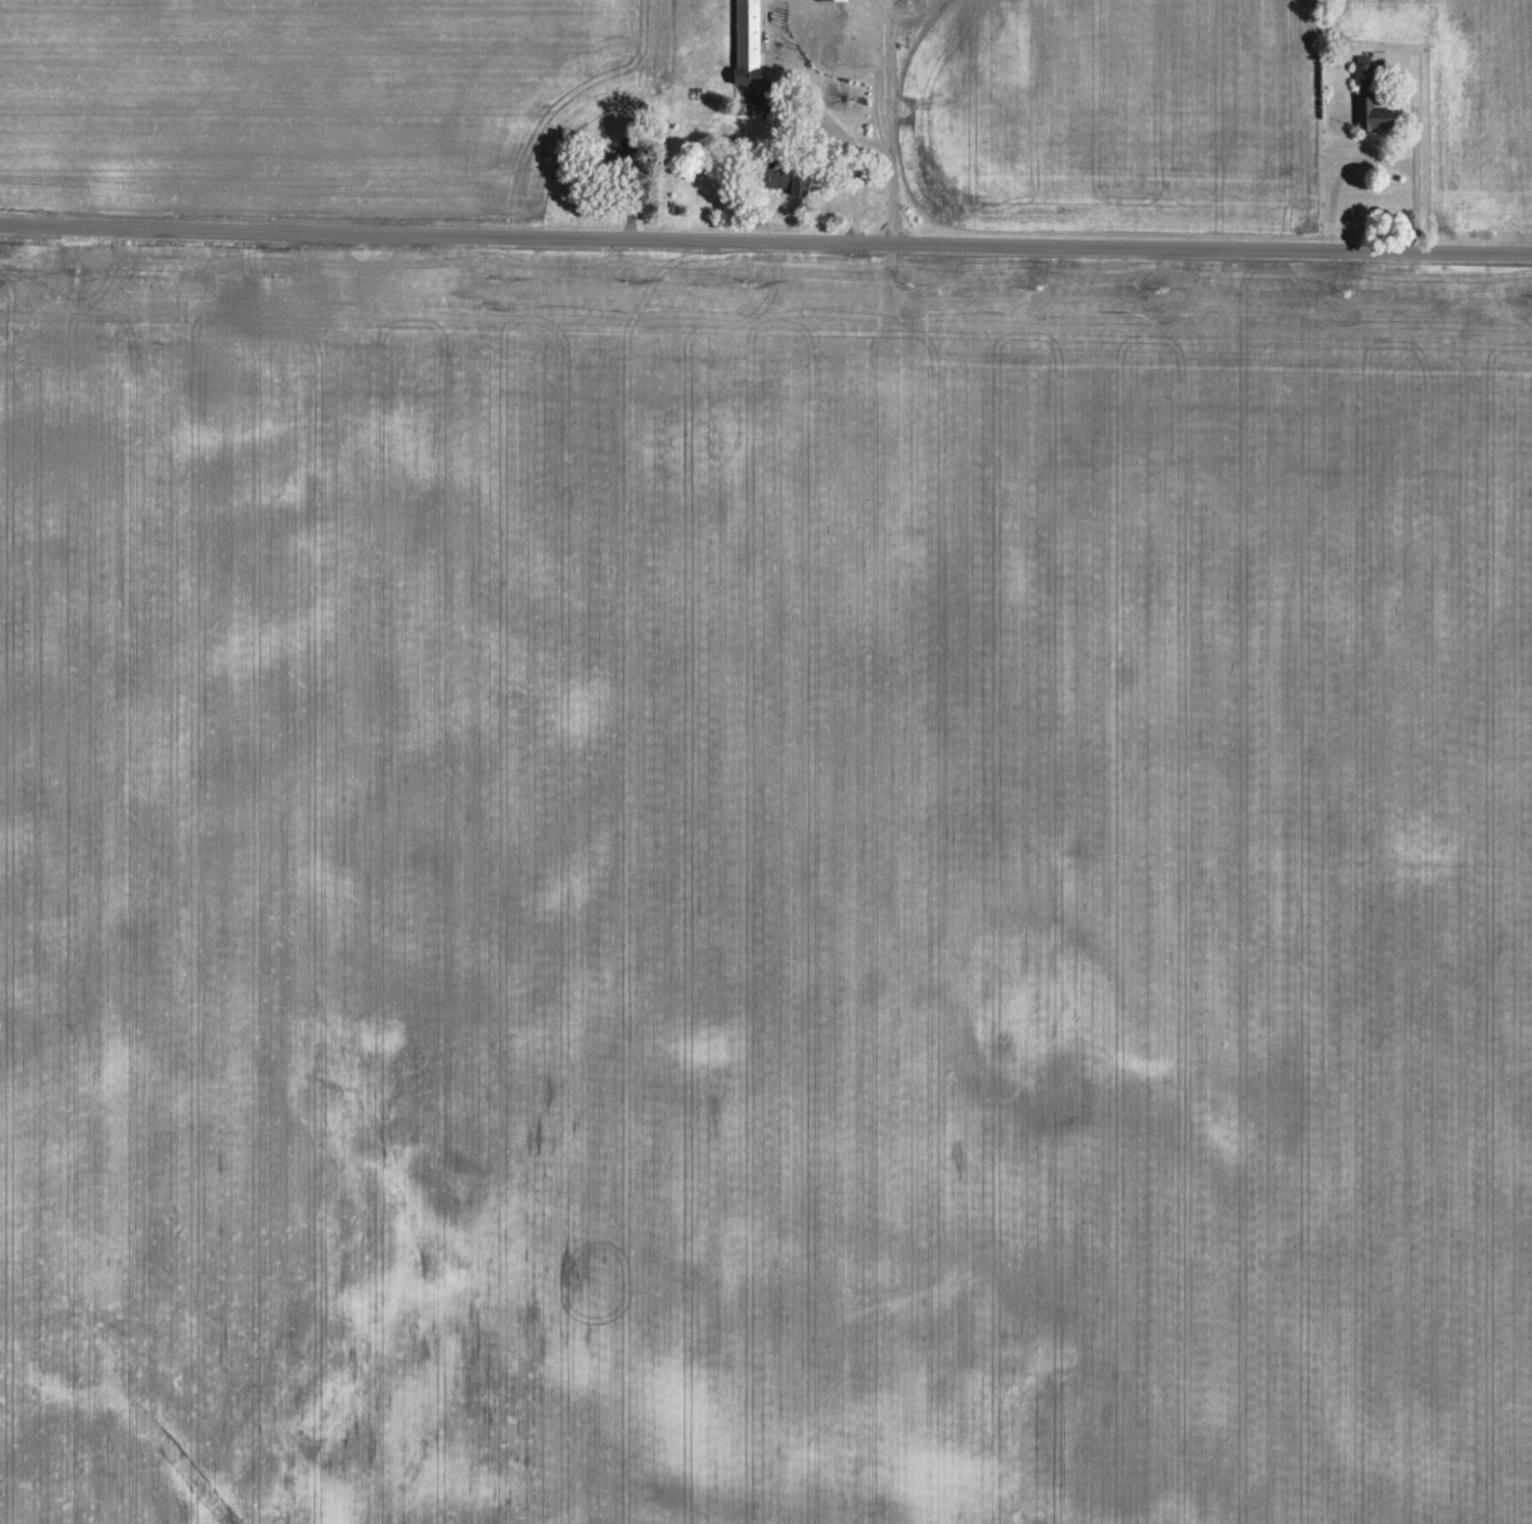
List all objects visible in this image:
building: (823, 0)
building: (748, 53)
building: (1362, 69)
building: (1369, 113)
road: (876, 127)
building: (628, 148)
road: (849, 158)
building: (602, 160)
road: (1409, 177)
building: (785, 180)
road: (765, 236)

